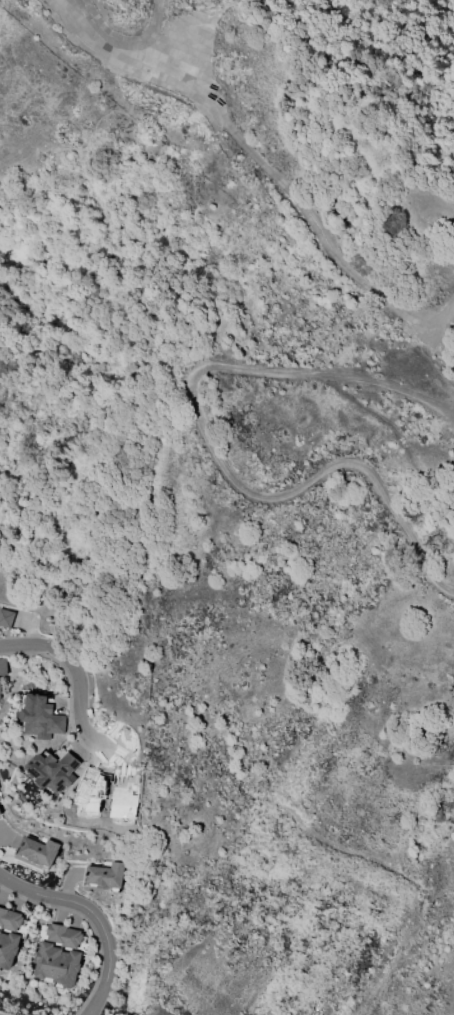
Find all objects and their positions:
park: (89, 346)
road: (400, 438)
road: (220, 447)
building: (6, 619)
building: (3, 667)
road: (76, 676)
building: (0, 689)
building: (41, 718)
building: (54, 770)
building: (0, 813)
building: (0, 815)
building: (39, 851)
building: (106, 876)
road: (403, 883)
road: (94, 917)
building: (10, 920)
building: (64, 935)
building: (8, 949)
building: (58, 965)

